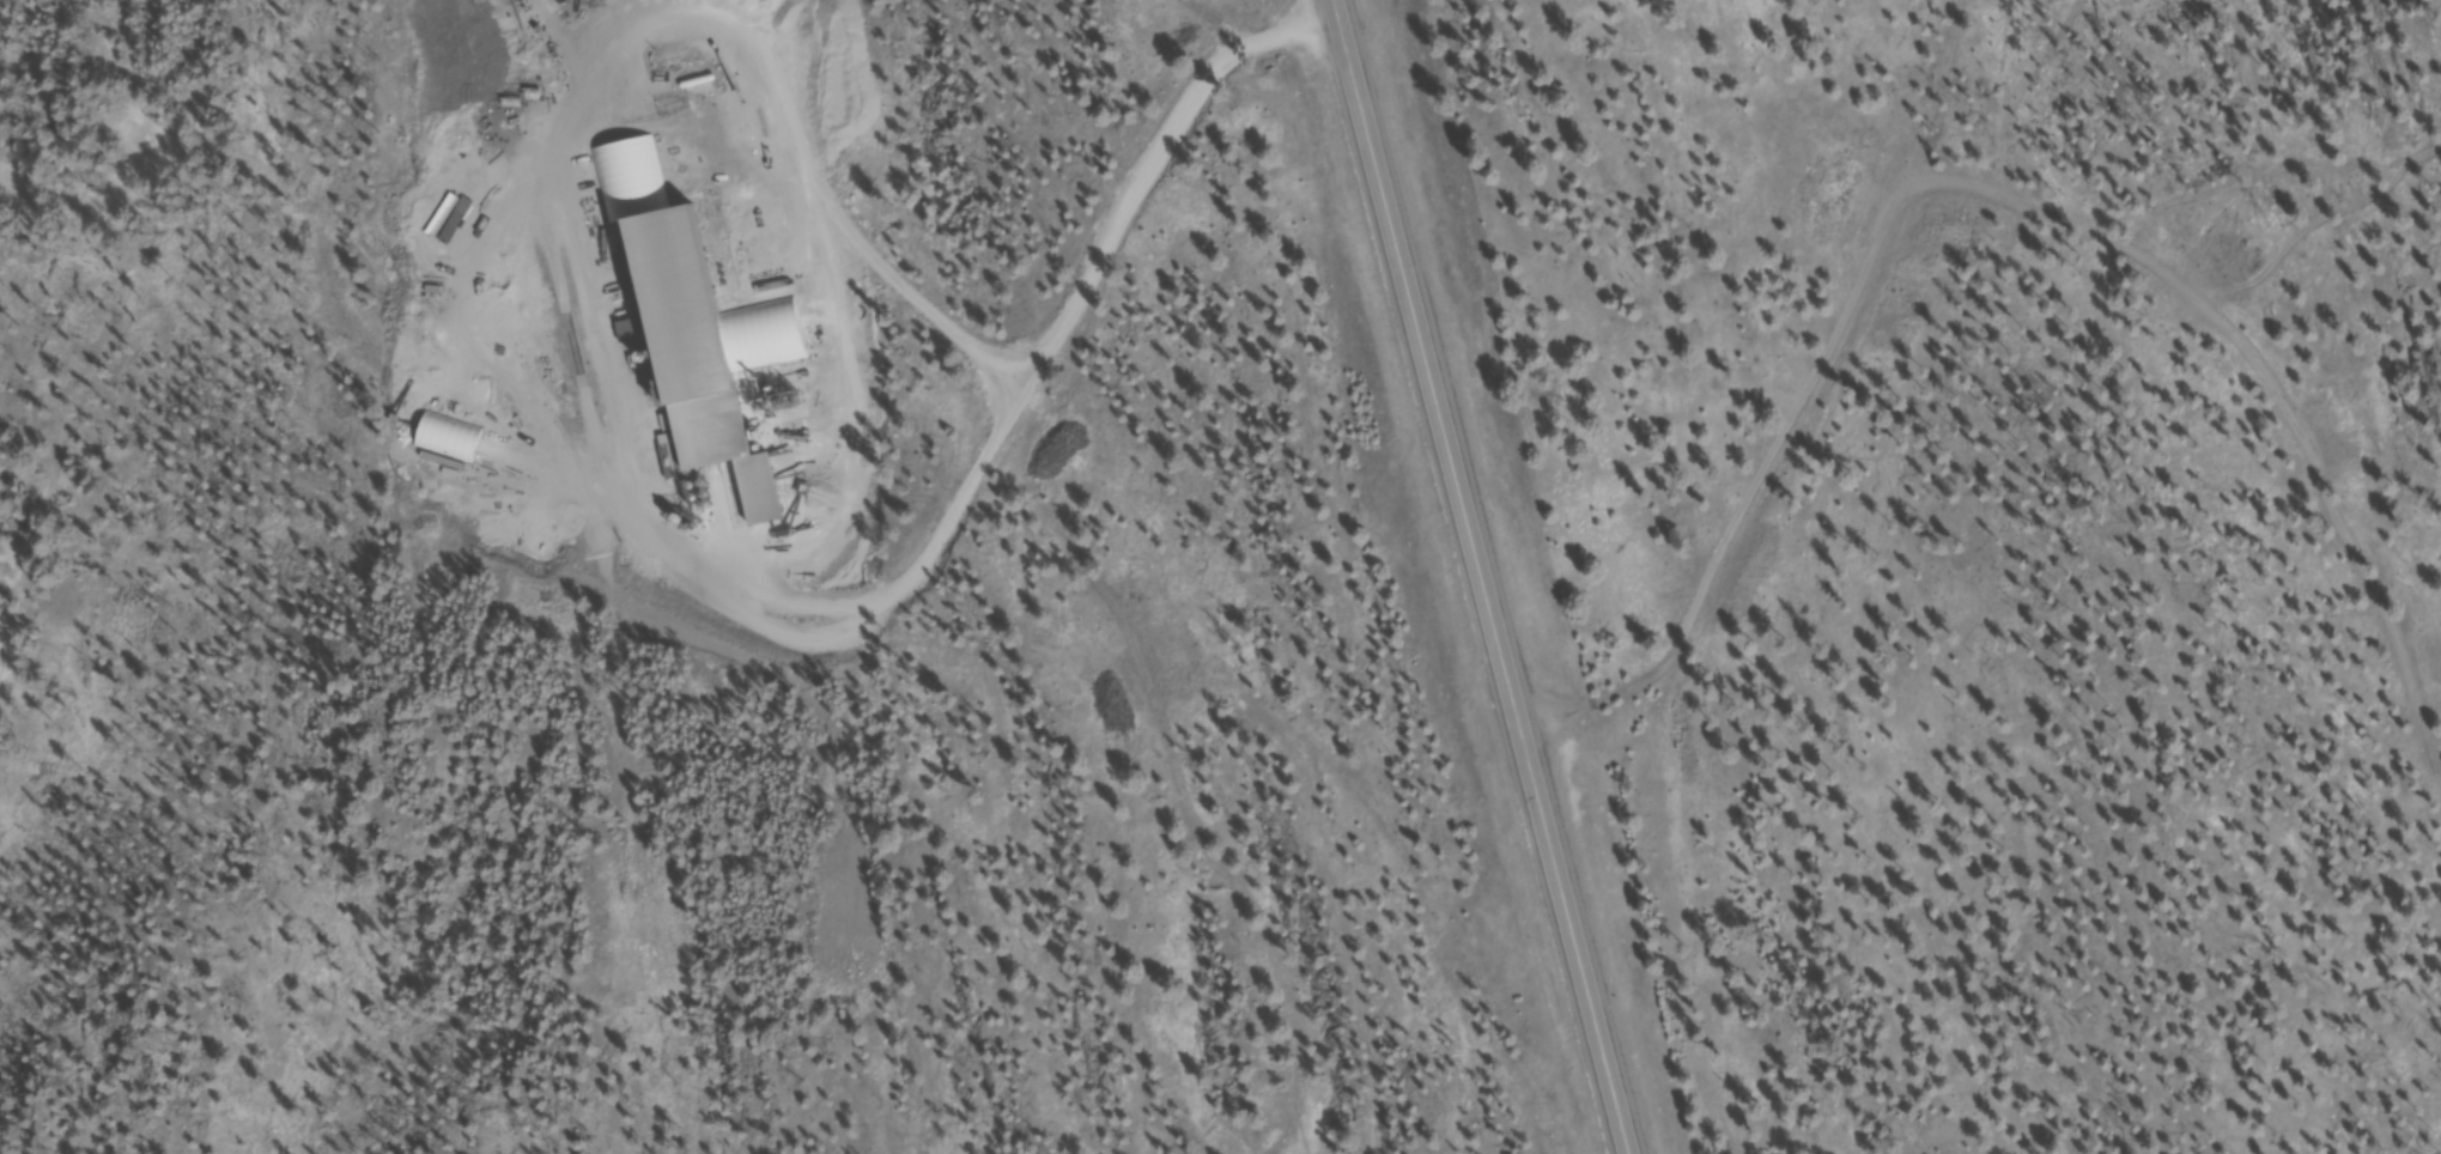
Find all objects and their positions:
road: (1104, 260)
building: (704, 358)
road: (1748, 364)
road: (1480, 559)
road: (1626, 1137)

